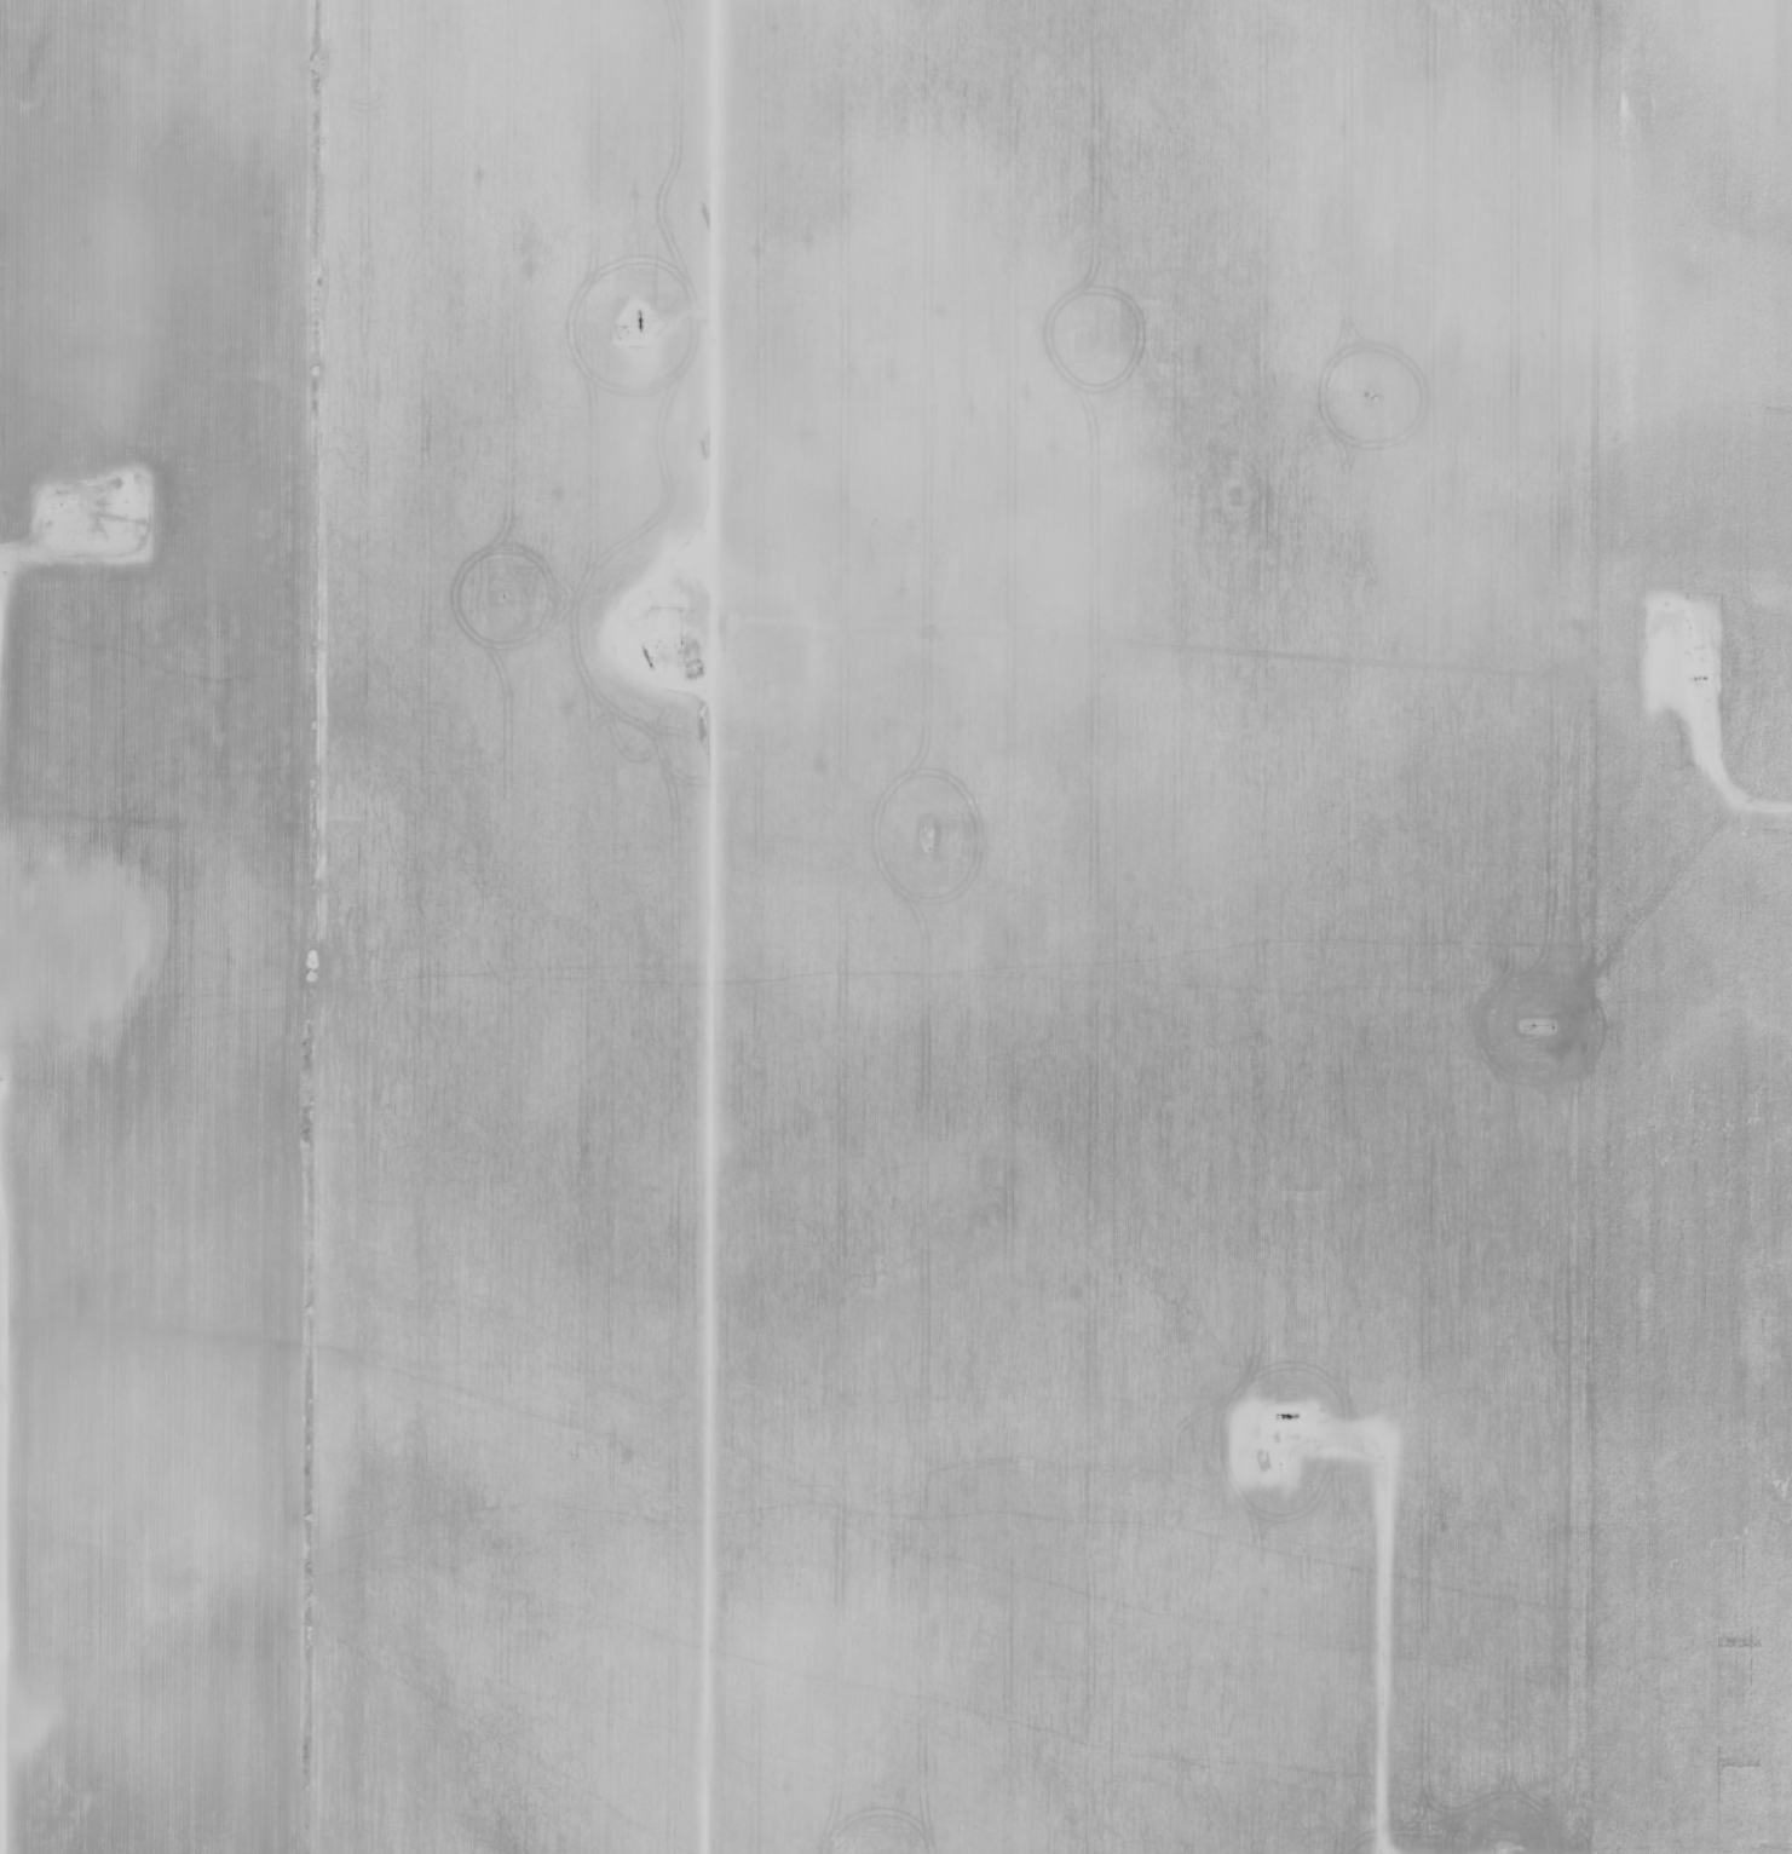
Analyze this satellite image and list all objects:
road: (1702, 747)
road: (704, 926)
road: (760, 1495)
road: (1376, 1596)
road: (4, 1682)

